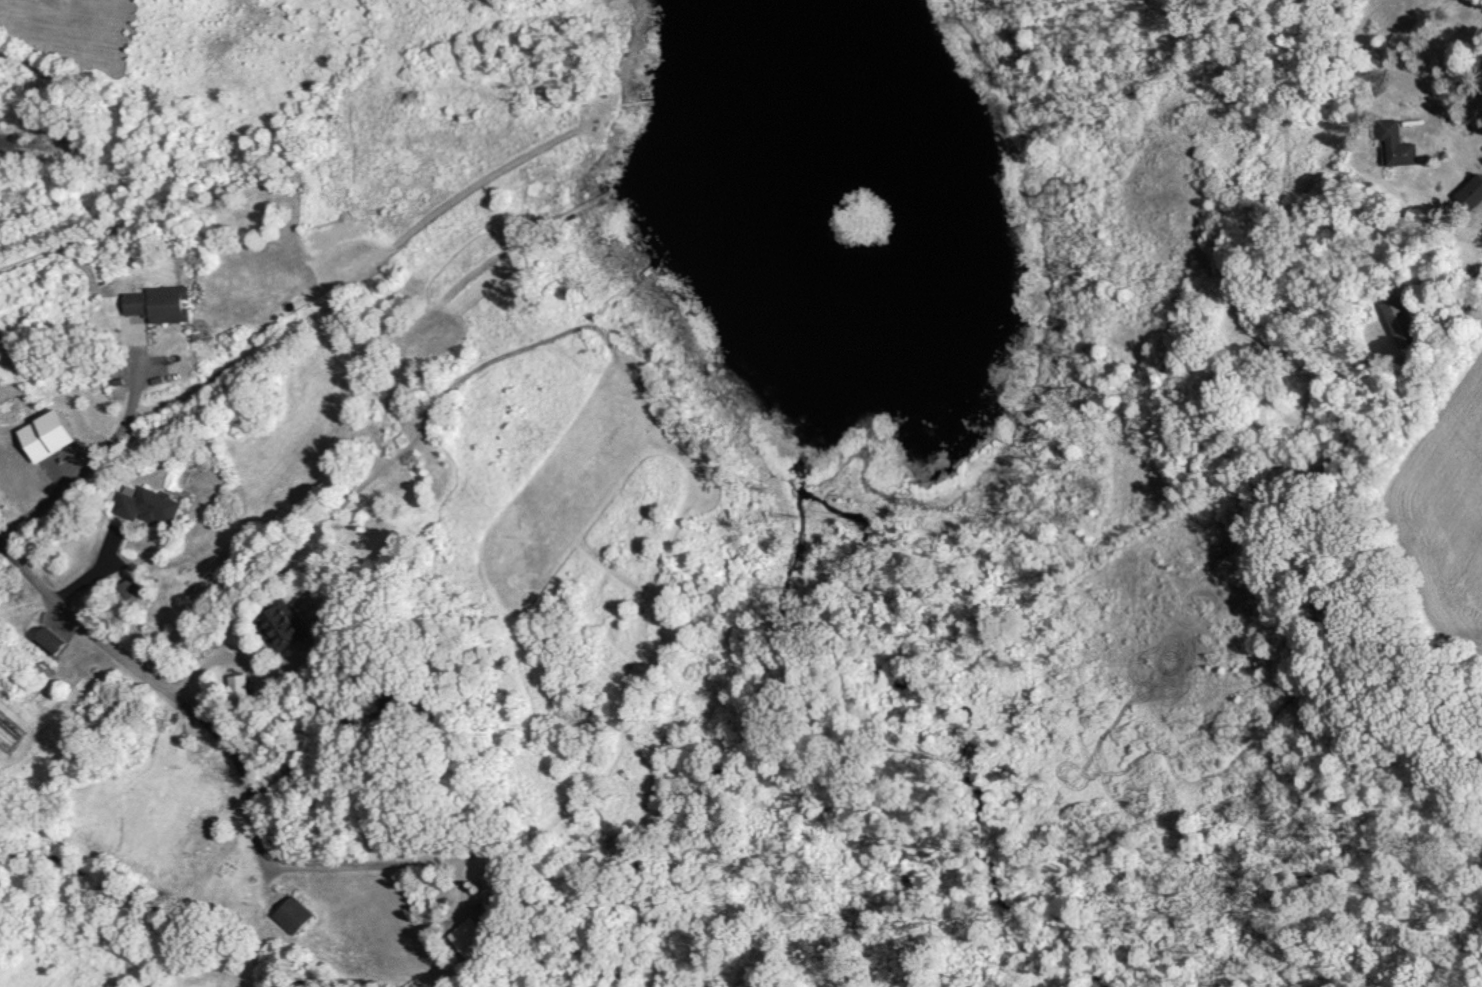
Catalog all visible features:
road: (1452, 86)
building: (1399, 144)
building: (1472, 191)
road: (358, 279)
building: (162, 304)
building: (1400, 321)
road: (105, 462)
building: (151, 505)
road: (103, 578)
building: (132, 586)
building: (286, 623)
building: (51, 640)
road: (249, 670)
building: (241, 684)
building: (402, 698)
road: (232, 756)
road: (300, 762)
building: (294, 914)

